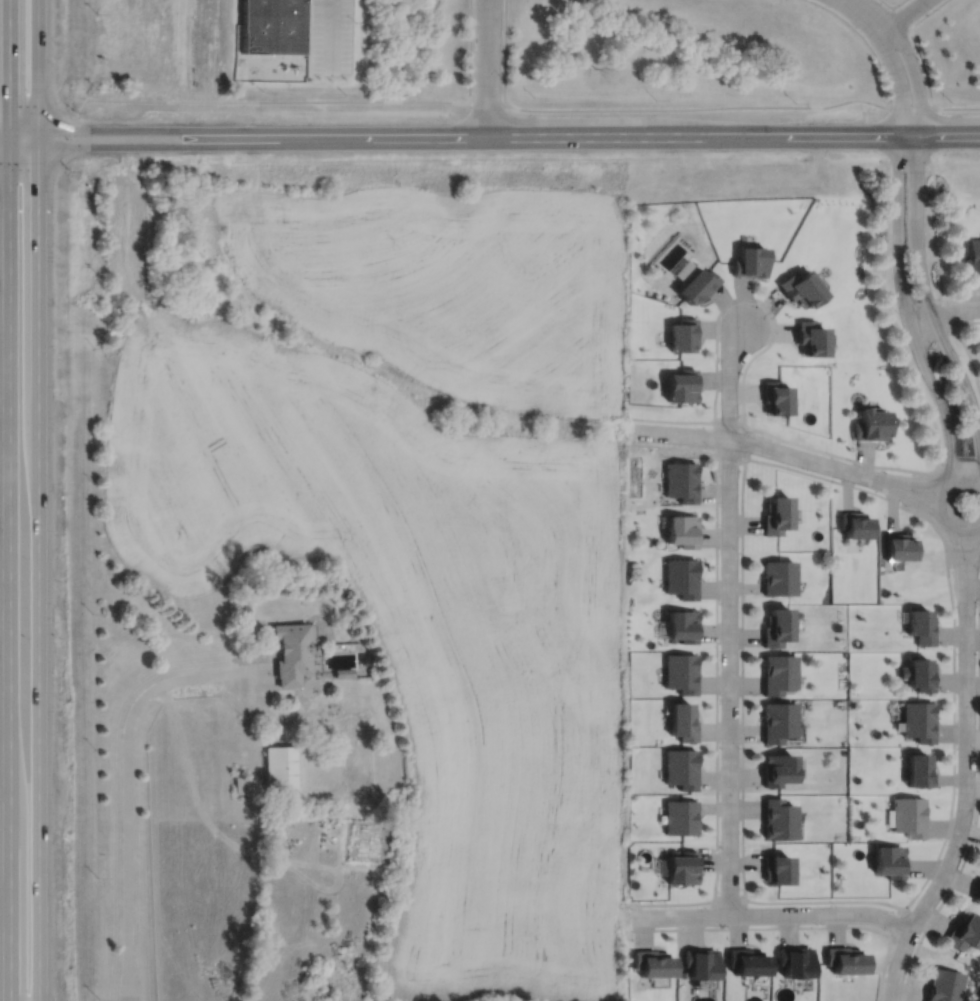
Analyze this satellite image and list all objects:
road: (892, 5)
road: (870, 13)
road: (927, 13)
road: (904, 15)
road: (900, 17)
building: (273, 26)
road: (330, 33)
road: (866, 41)
road: (469, 51)
road: (504, 51)
park: (951, 52)
street lamp: (919, 60)
road: (923, 66)
road: (487, 68)
road: (9, 69)
street lamp: (886, 71)
road: (37, 73)
road: (260, 101)
road: (486, 103)
road: (697, 108)
road: (911, 108)
road: (957, 108)
road: (136, 129)
road: (889, 133)
road: (930, 133)
road: (622, 136)
road: (4, 138)
road: (136, 145)
street lamp: (891, 197)
street lamp: (925, 199)
road: (917, 236)
building: (973, 258)
road: (899, 259)
building: (751, 261)
building: (698, 286)
building: (802, 288)
street lamp: (934, 298)
street lamp: (758, 302)
street lamp: (898, 312)
road: (943, 313)
road: (944, 313)
building: (684, 336)
building: (810, 339)
road: (962, 341)
street lamp: (959, 355)
street lamp: (719, 358)
road: (729, 381)
building: (683, 387)
building: (778, 399)
road: (729, 420)
building: (871, 424)
street lamp: (746, 430)
road: (713, 437)
road: (749, 443)
road: (756, 444)
street lamp: (709, 446)
street lamp: (831, 456)
road: (959, 456)
road: (729, 459)
street lamp: (942, 463)
road: (920, 471)
building: (681, 480)
road: (912, 483)
road: (907, 488)
road: (909, 497)
street lamp: (906, 504)
road: (940, 505)
road: (904, 507)
building: (778, 513)
building: (854, 523)
building: (683, 529)
building: (898, 544)
street lamp: (738, 552)
road: (958, 559)
road: (973, 561)
road: (963, 565)
road: (10, 569)
street lamp: (979, 569)
road: (38, 573)
building: (682, 576)
building: (778, 576)
building: (684, 624)
building: (921, 625)
building: (776, 626)
street lamp: (720, 650)
building: (293, 651)
street lamp: (957, 652)
road: (258, 669)
building: (343, 672)
building: (682, 672)
building: (778, 673)
building: (919, 673)
road: (202, 675)
road: (716, 676)
road: (729, 676)
road: (166, 698)
road: (259, 706)
building: (919, 720)
building: (684, 721)
building: (777, 721)
street lamp: (739, 747)
street lamp: (976, 749)
building: (281, 767)
building: (682, 767)
building: (776, 769)
building: (920, 770)
building: (244, 784)
road: (966, 804)
road: (977, 806)
building: (909, 816)
building: (682, 817)
building: (777, 819)
road: (126, 835)
street lamp: (720, 841)
street lamp: (947, 843)
building: (889, 861)
building: (683, 867)
building: (775, 870)
building: (977, 893)
road: (729, 895)
street lamp: (835, 904)
street lamp: (631, 907)
road: (773, 915)
road: (893, 920)
street lamp: (723, 925)
road: (793, 927)
building: (964, 933)
street lamp: (917, 942)
building: (846, 961)
building: (795, 962)
building: (746, 963)
building: (653, 964)
building: (700, 964)
building: (944, 985)

